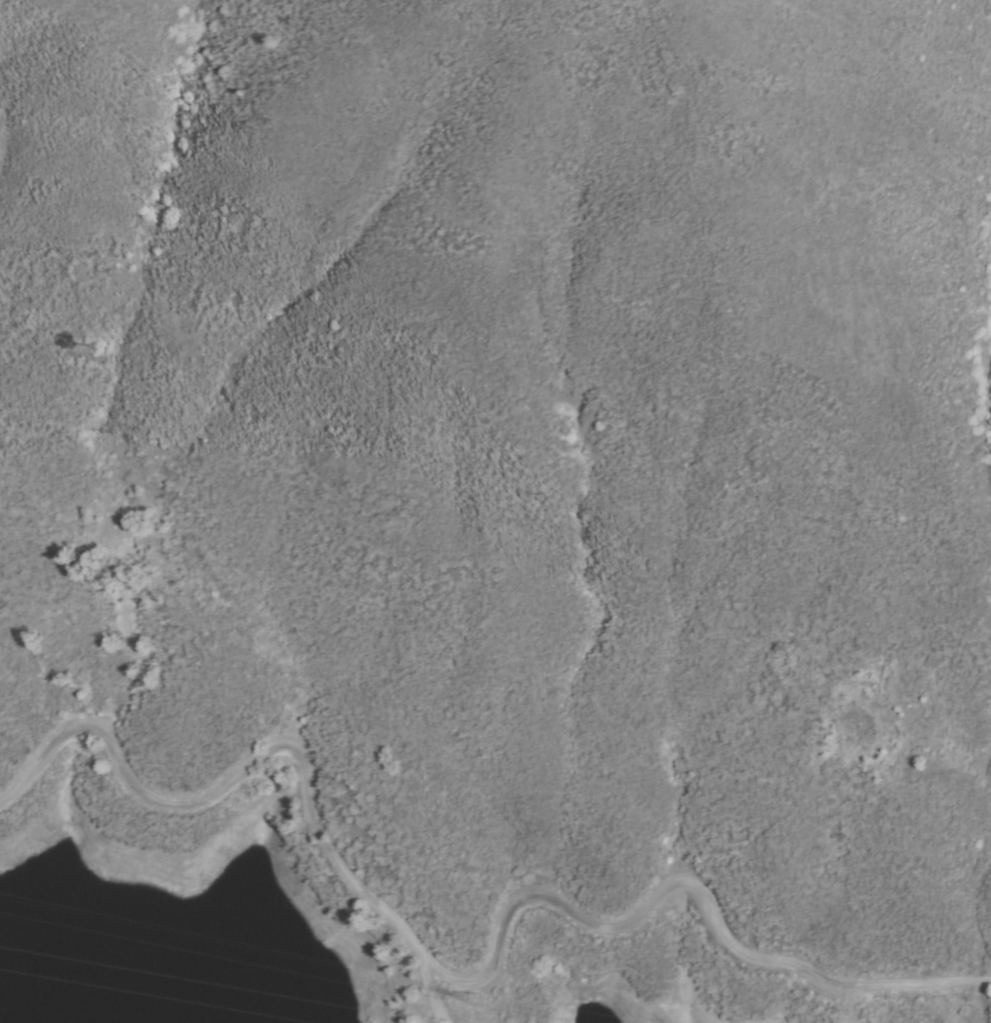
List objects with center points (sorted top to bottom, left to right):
road: (450, 963)
power tower: (475, 1002)

